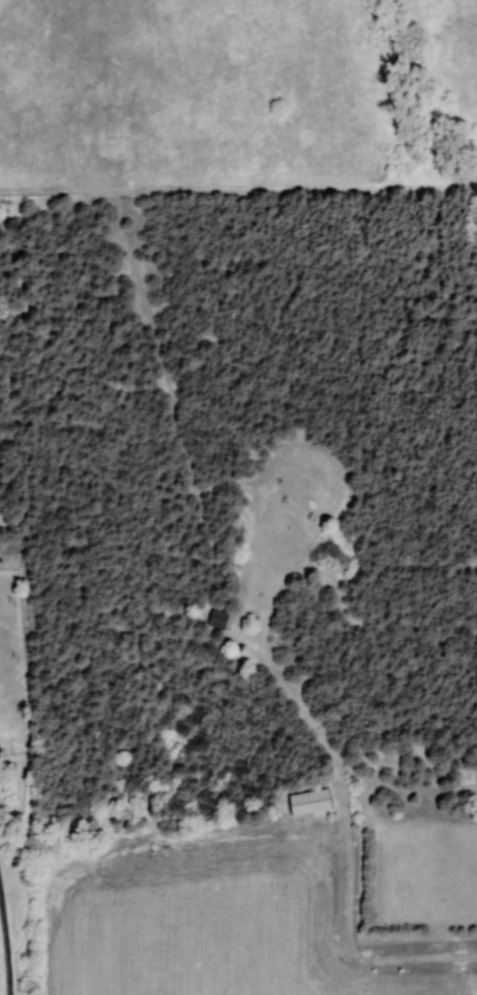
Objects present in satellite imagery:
building: (216, 619)
building: (305, 802)
road: (6, 942)

